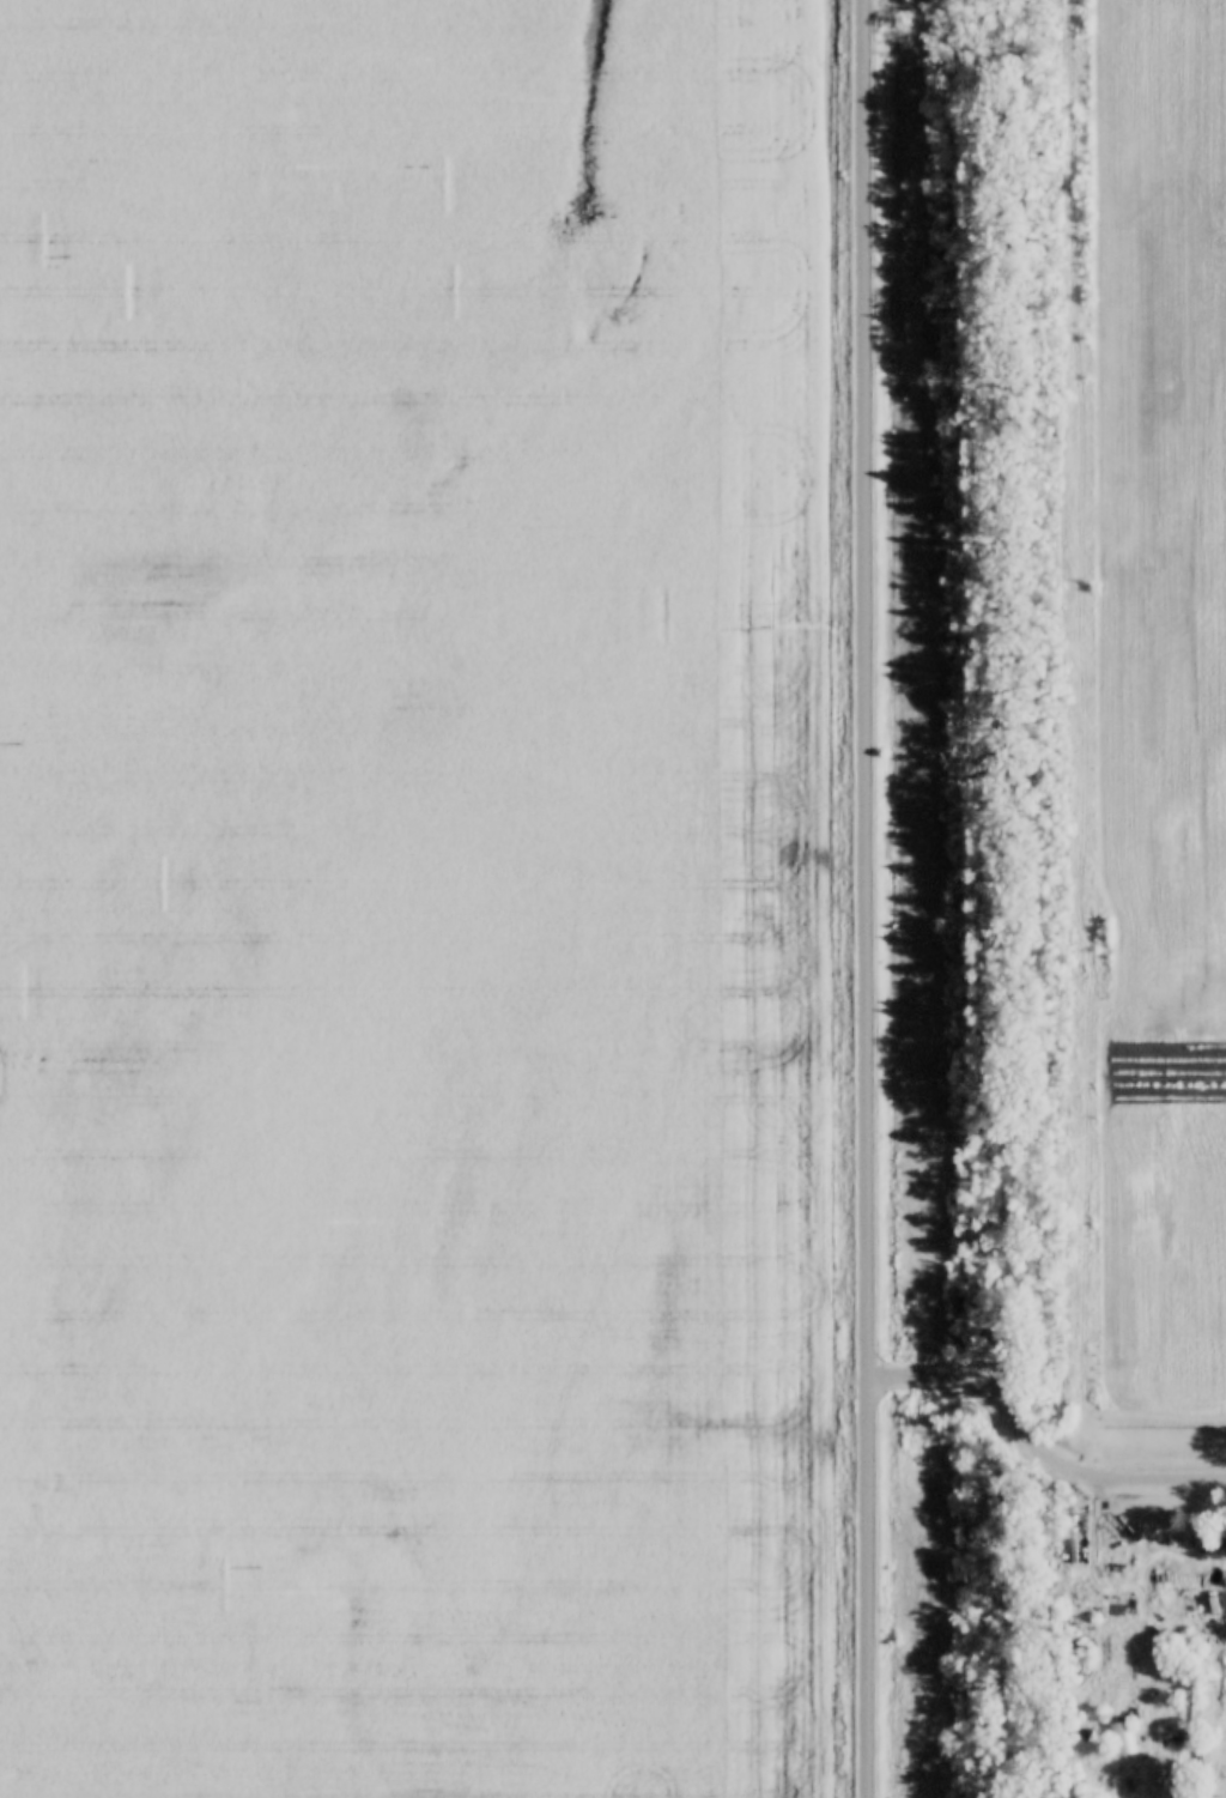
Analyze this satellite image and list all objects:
road: (866, 898)
road: (1037, 1451)
building: (1121, 1739)

